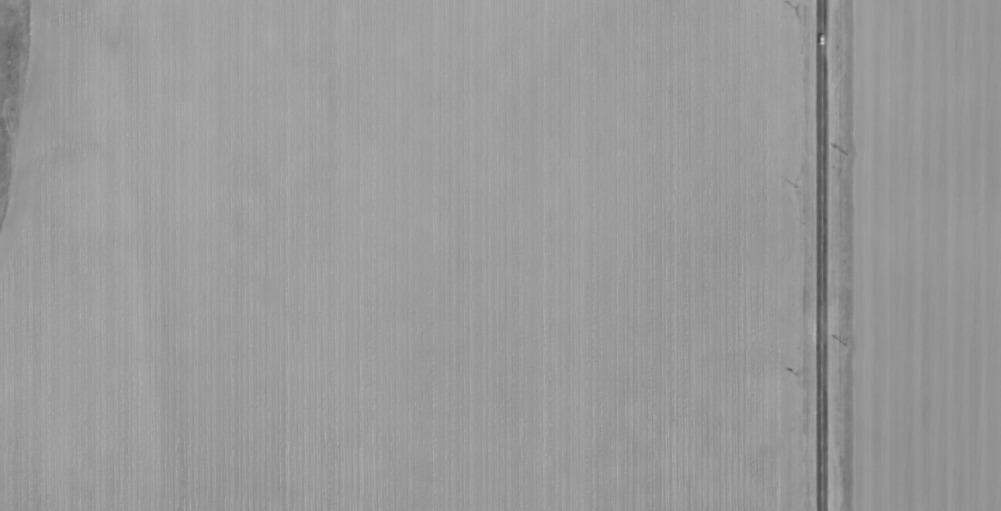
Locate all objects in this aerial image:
road: (818, 255)

